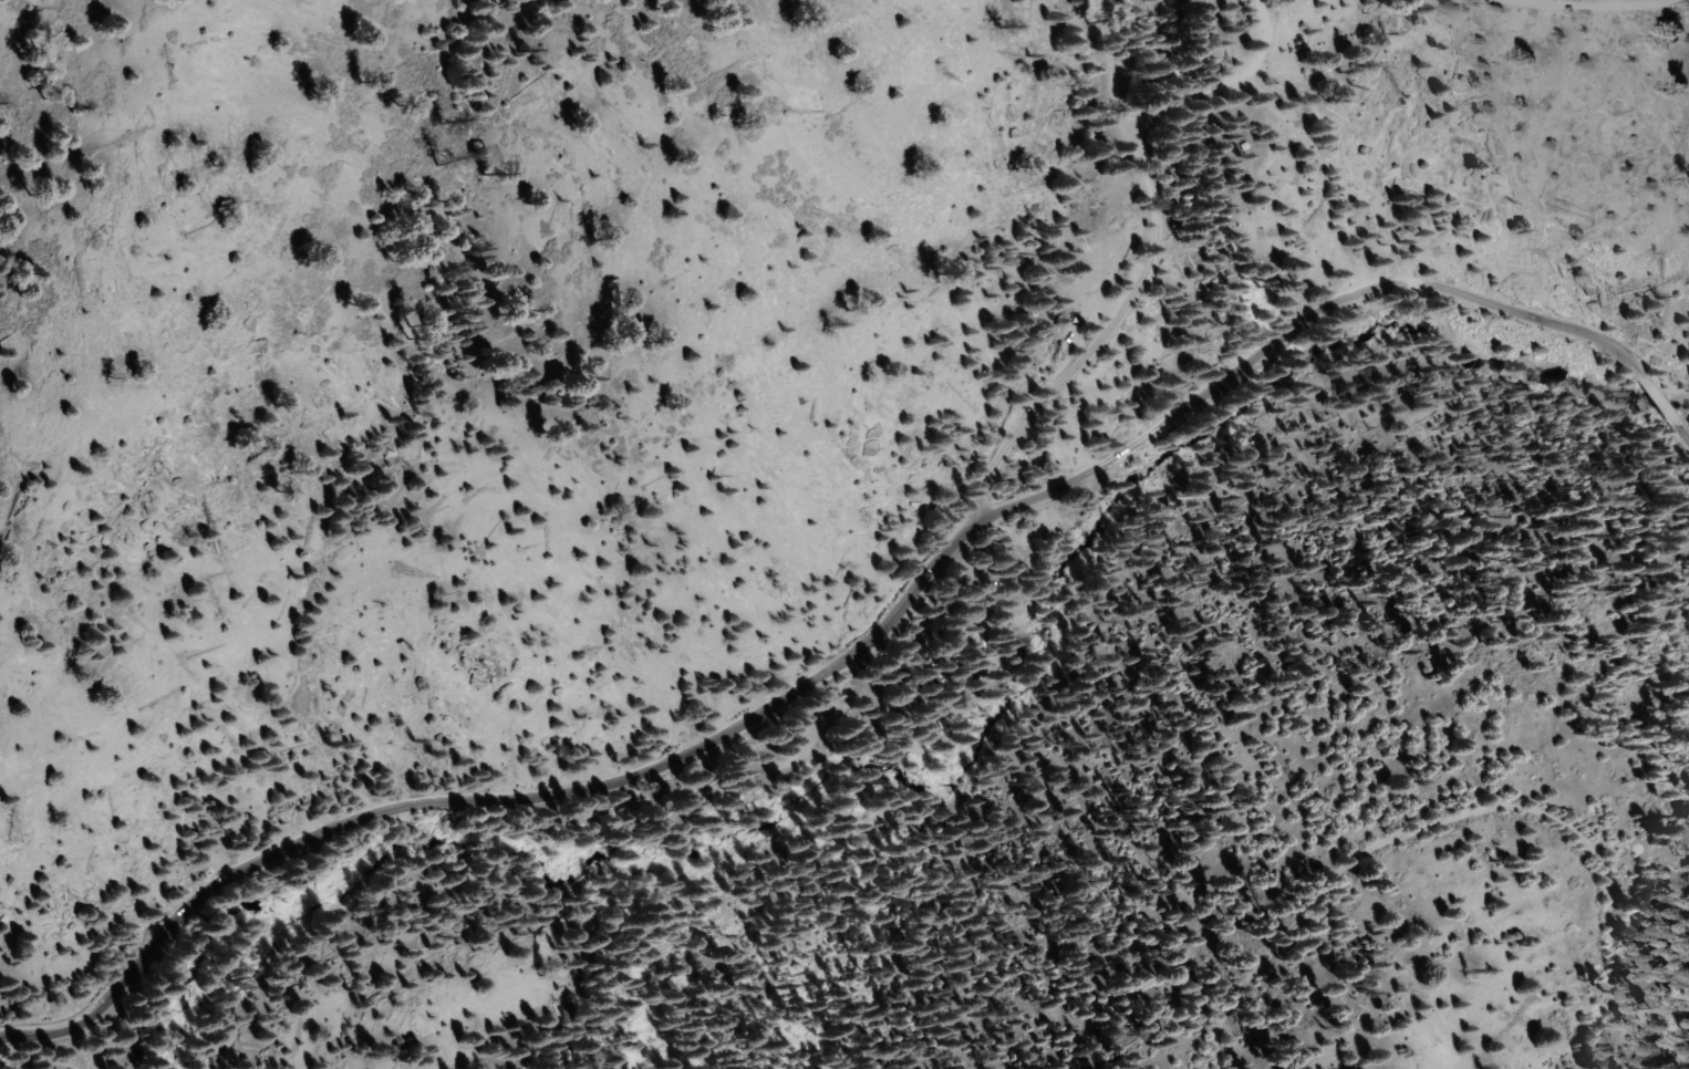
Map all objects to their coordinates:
road: (1598, 4)
road: (1220, 82)
road: (1137, 287)
road: (1659, 403)
road: (1685, 437)
road: (840, 663)
road: (1577, 828)
road: (1277, 961)

